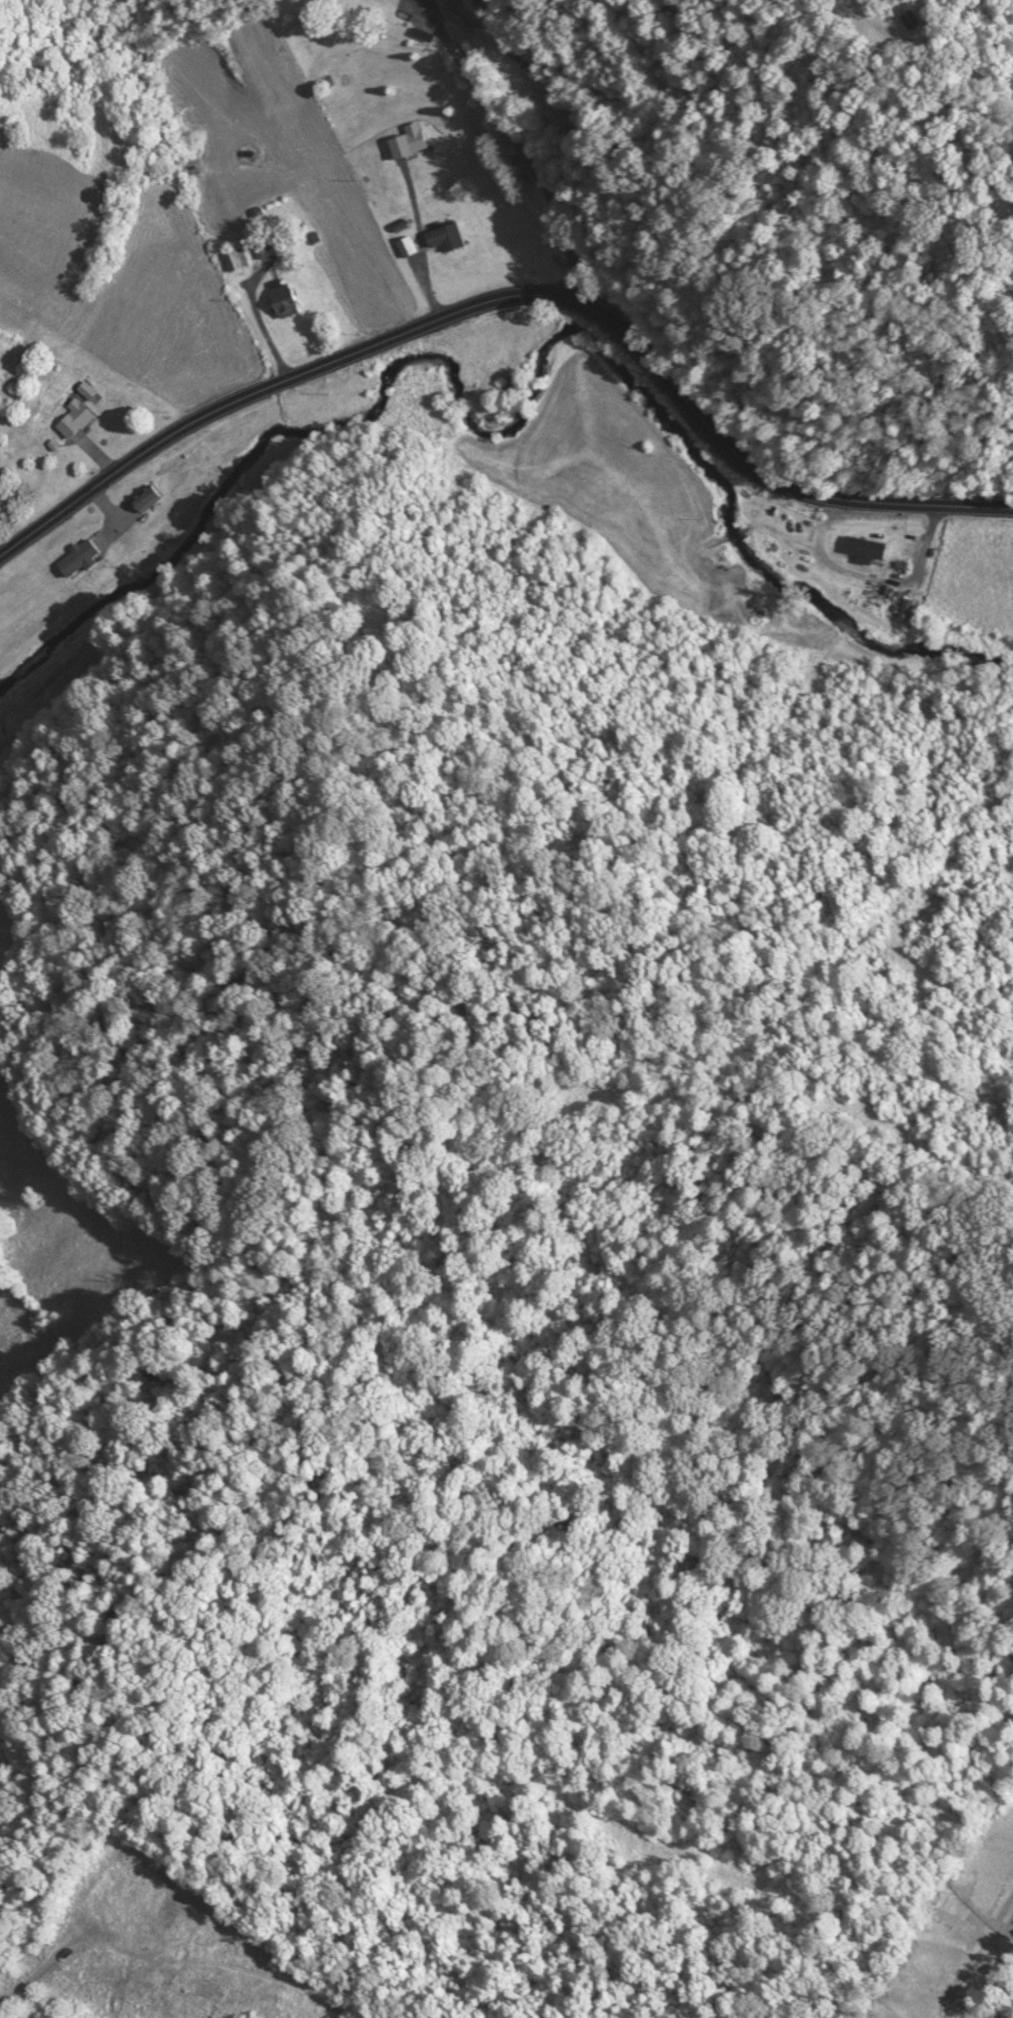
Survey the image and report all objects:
building: (907, 19)
building: (417, 32)
building: (147, 58)
building: (404, 139)
road: (521, 150)
building: (441, 235)
road: (418, 238)
building: (405, 244)
building: (234, 258)
road: (510, 294)
building: (280, 297)
road: (263, 319)
building: (89, 390)
building: (83, 410)
building: (149, 495)
building: (862, 547)
building: (83, 556)
building: (906, 605)

